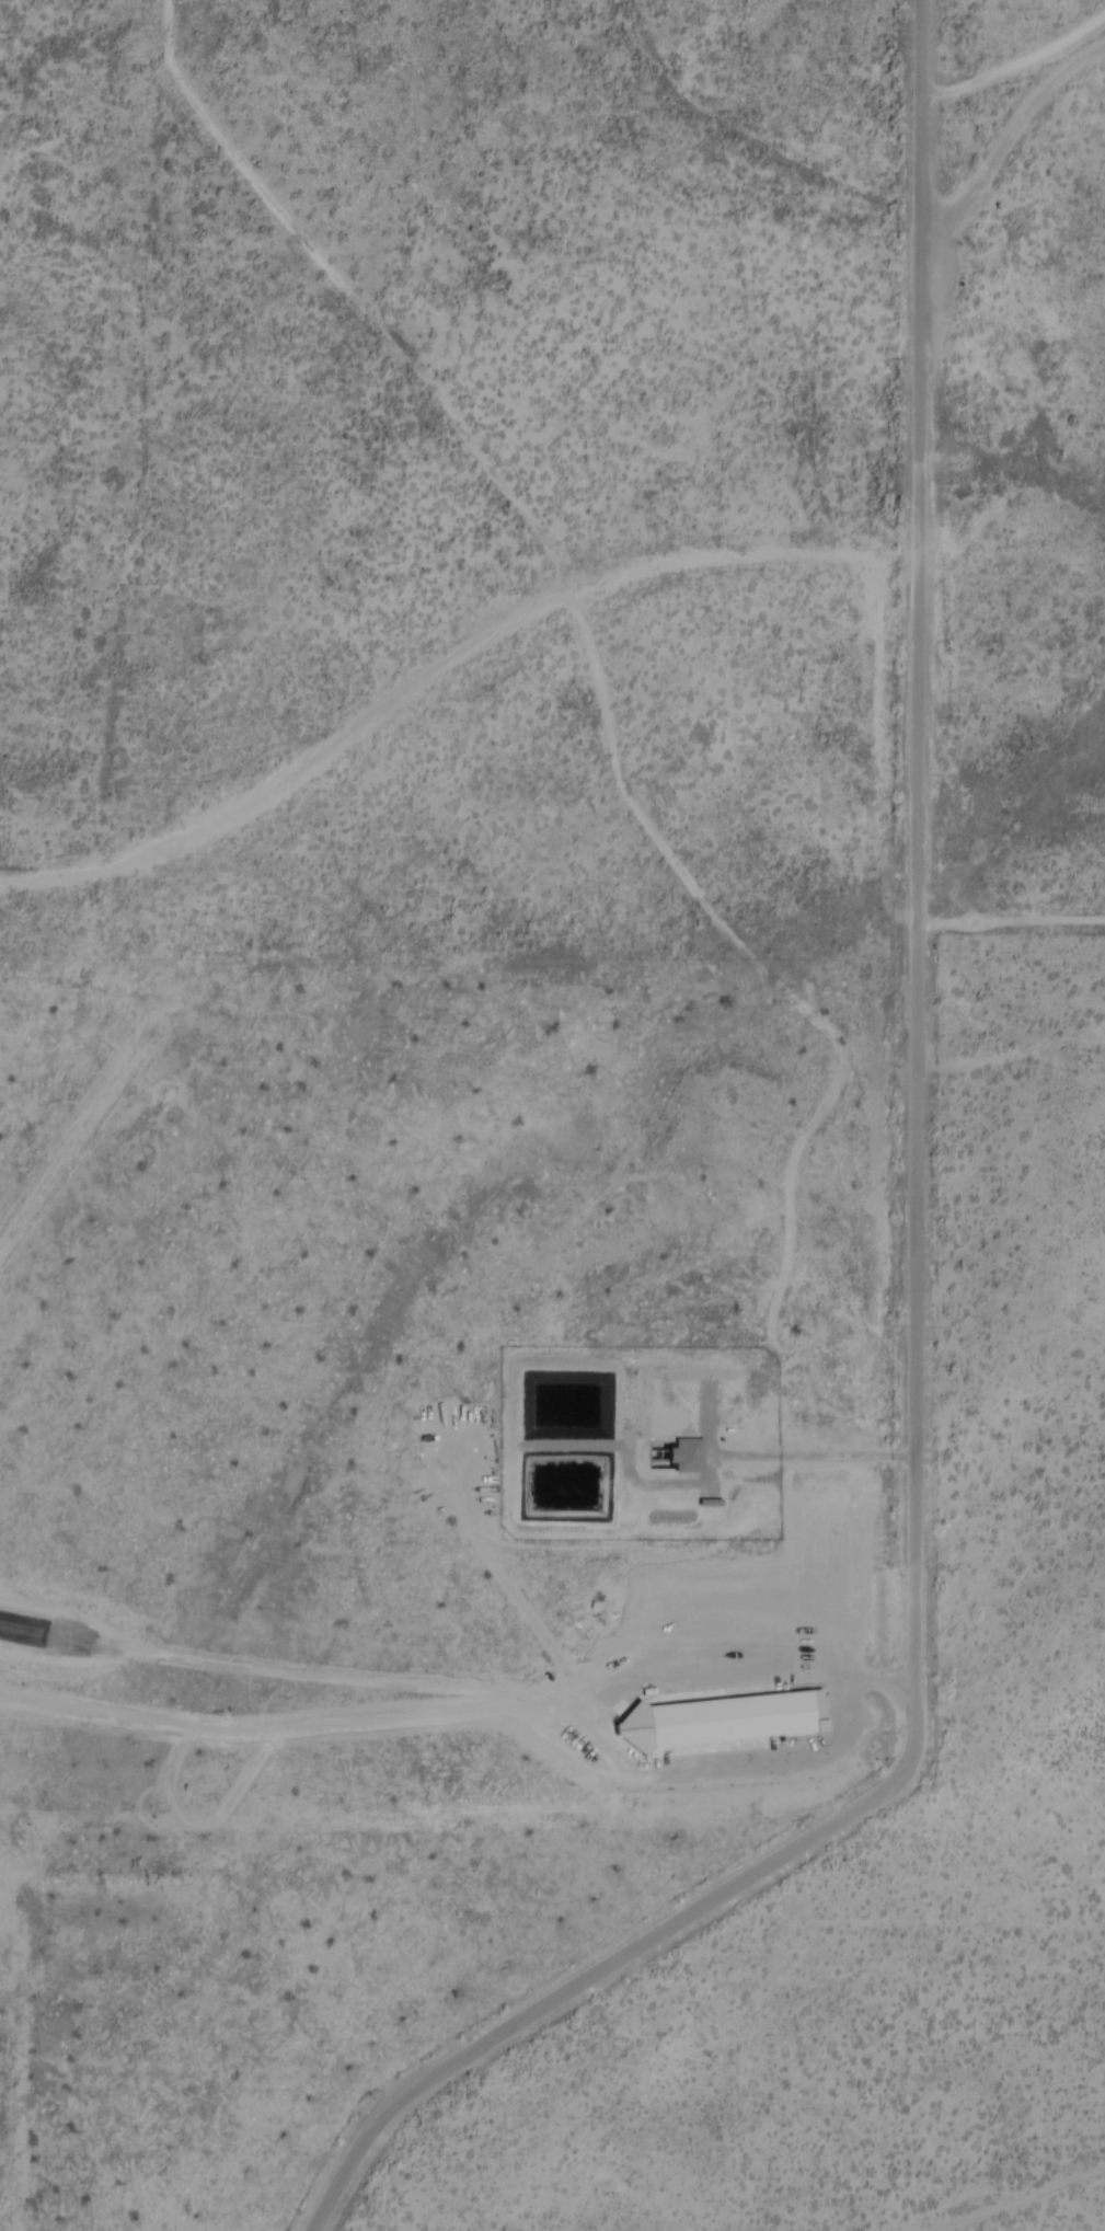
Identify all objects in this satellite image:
road: (588, 622)
road: (909, 1261)
building: (687, 1458)
building: (745, 1728)
road: (1001, 2187)

